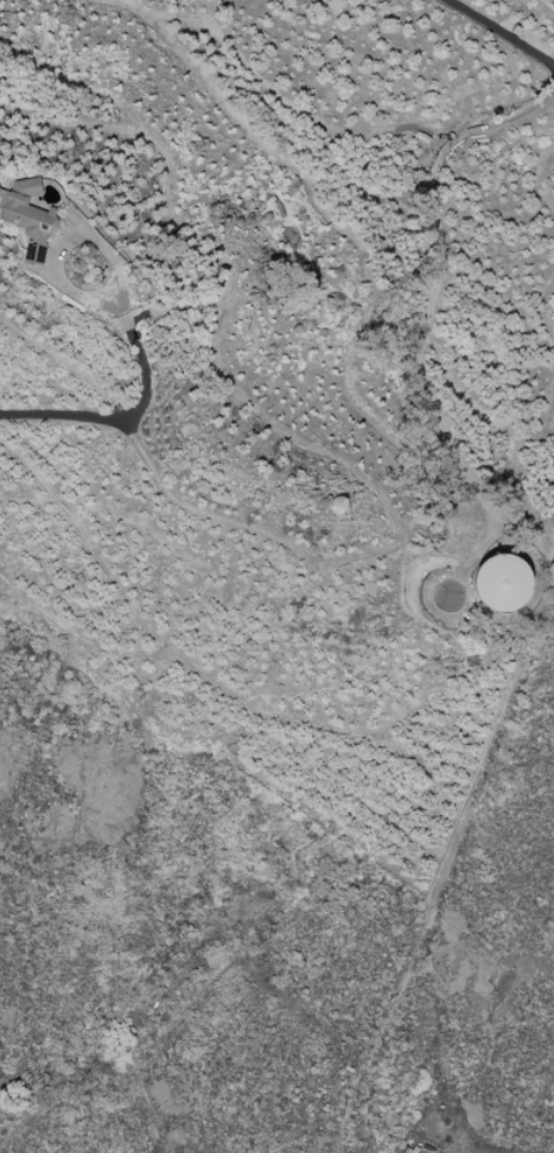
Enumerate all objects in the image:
road: (501, 31)
building: (28, 222)
road: (121, 421)
building: (499, 582)

